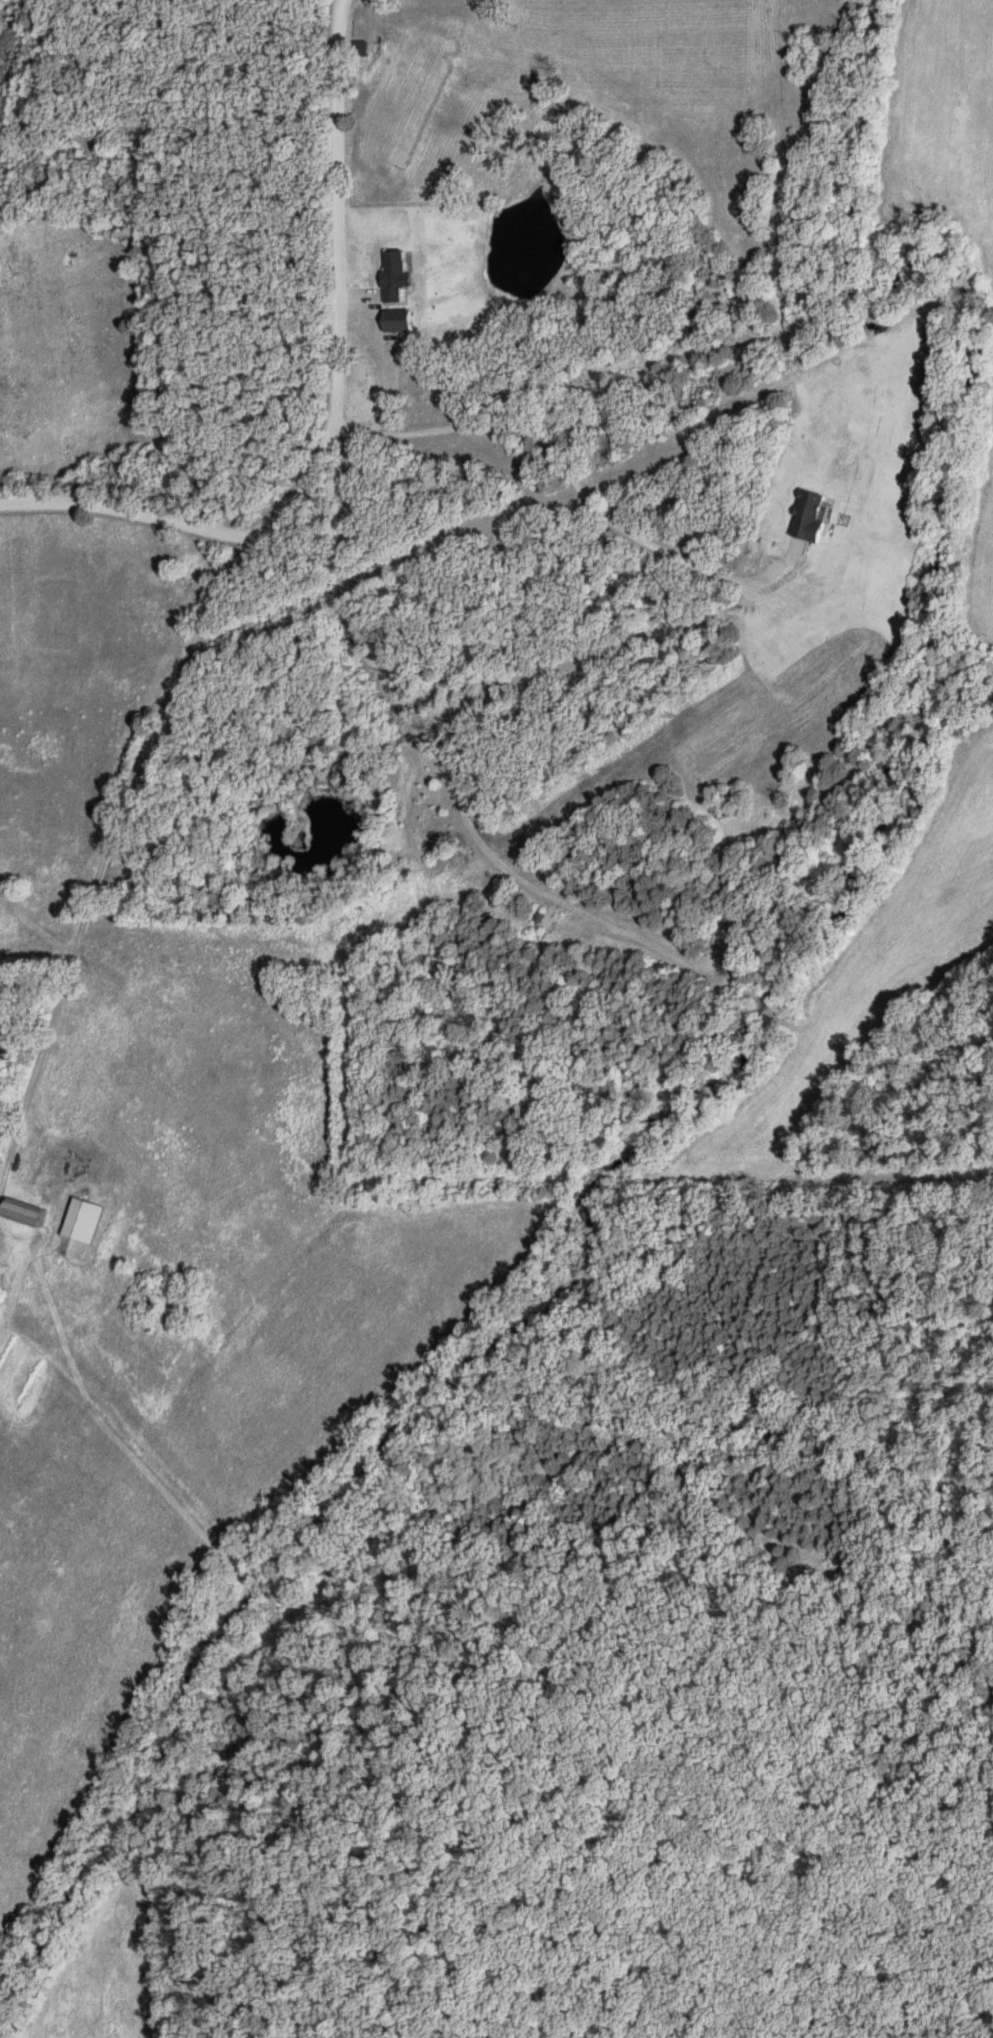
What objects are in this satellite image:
building: (400, 277)
building: (405, 322)
road: (336, 412)
road: (570, 475)
building: (814, 516)
road: (430, 759)
road: (101, 859)
building: (33, 1216)
building: (87, 1222)

